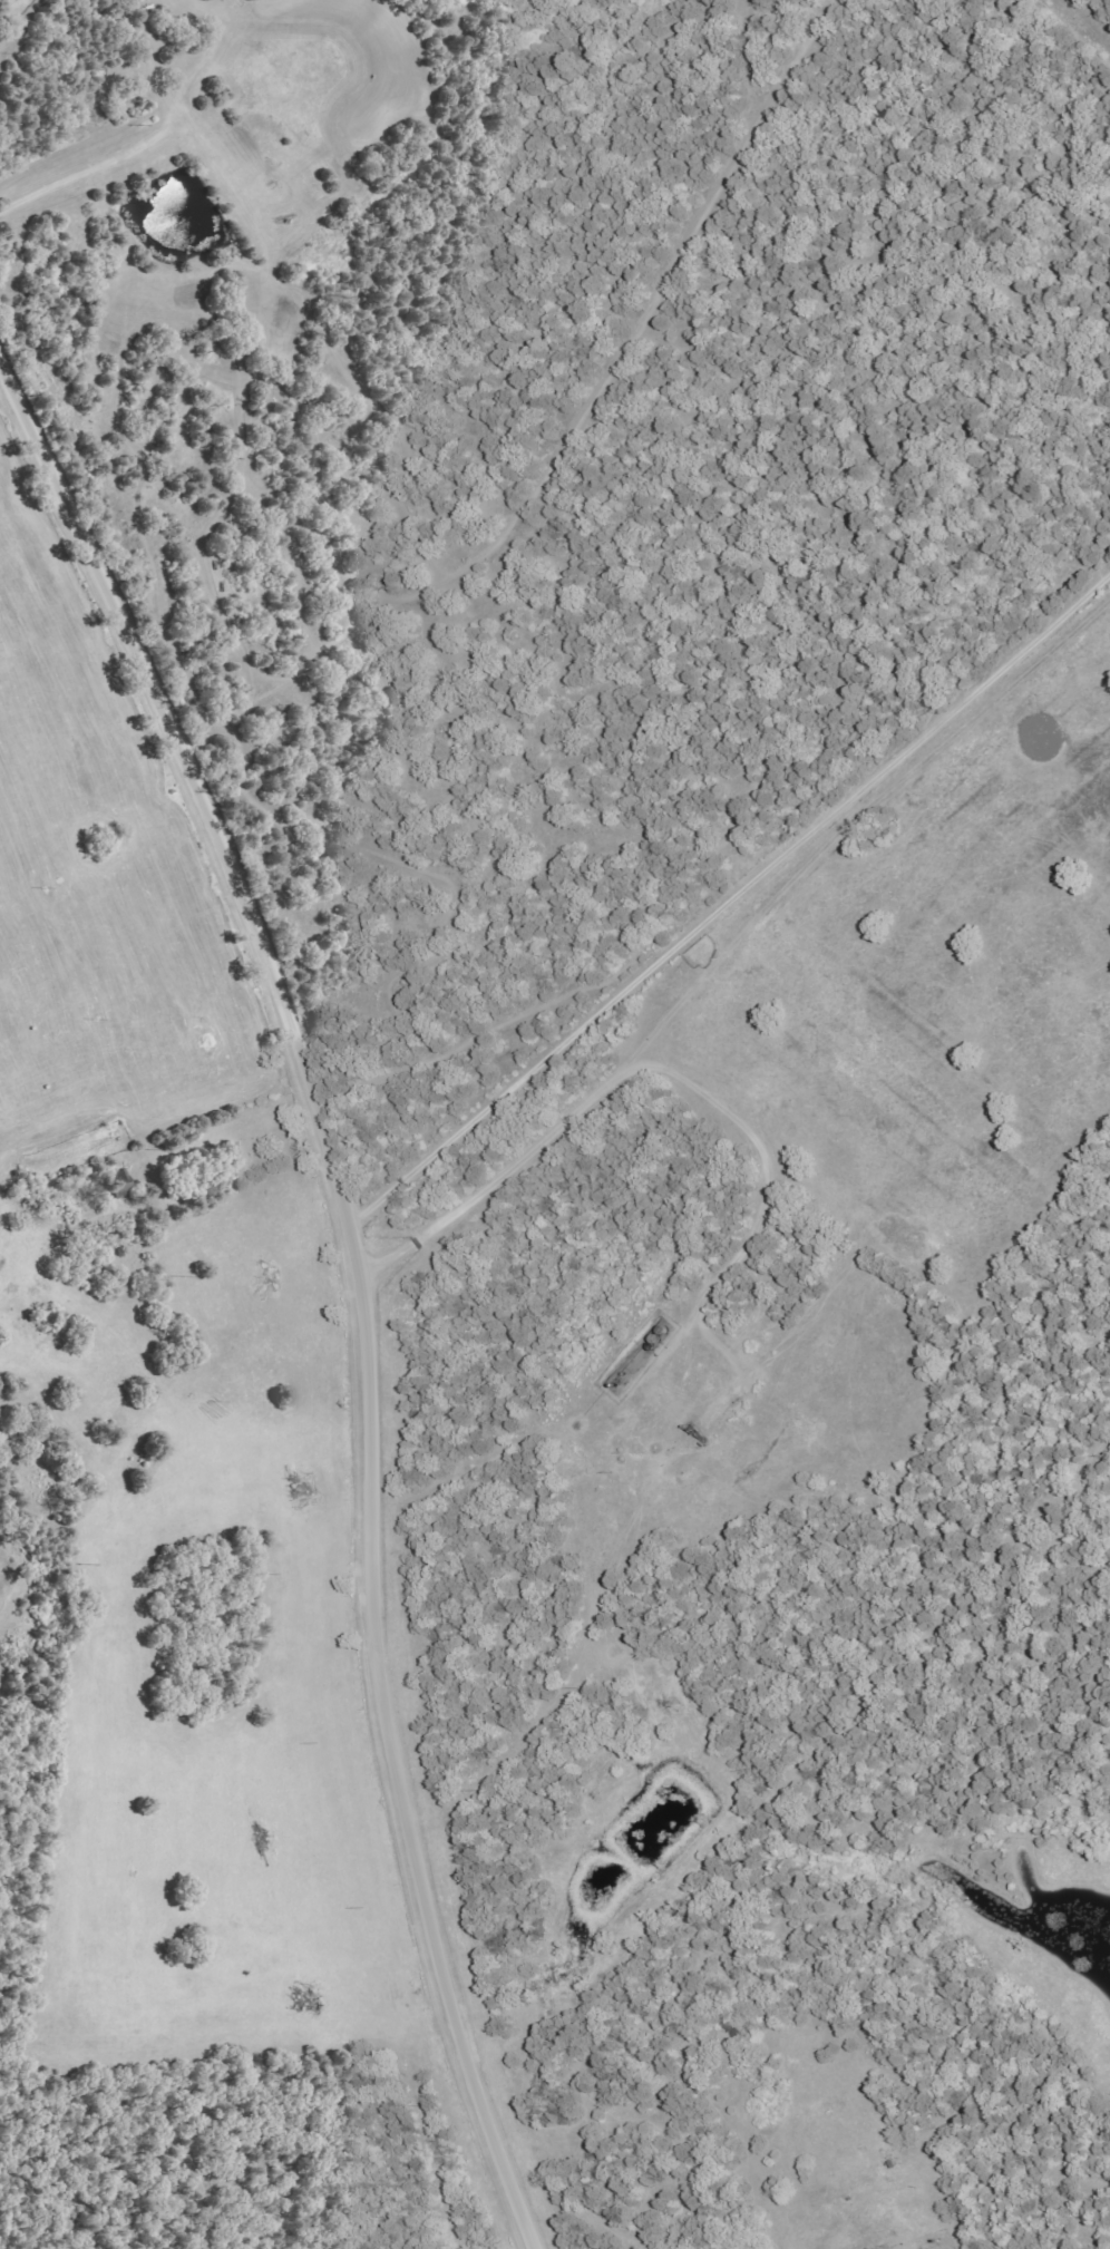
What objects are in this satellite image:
road: (1055, 731)
road: (731, 896)
road: (20, 1233)
road: (357, 1283)
road: (874, 1815)

